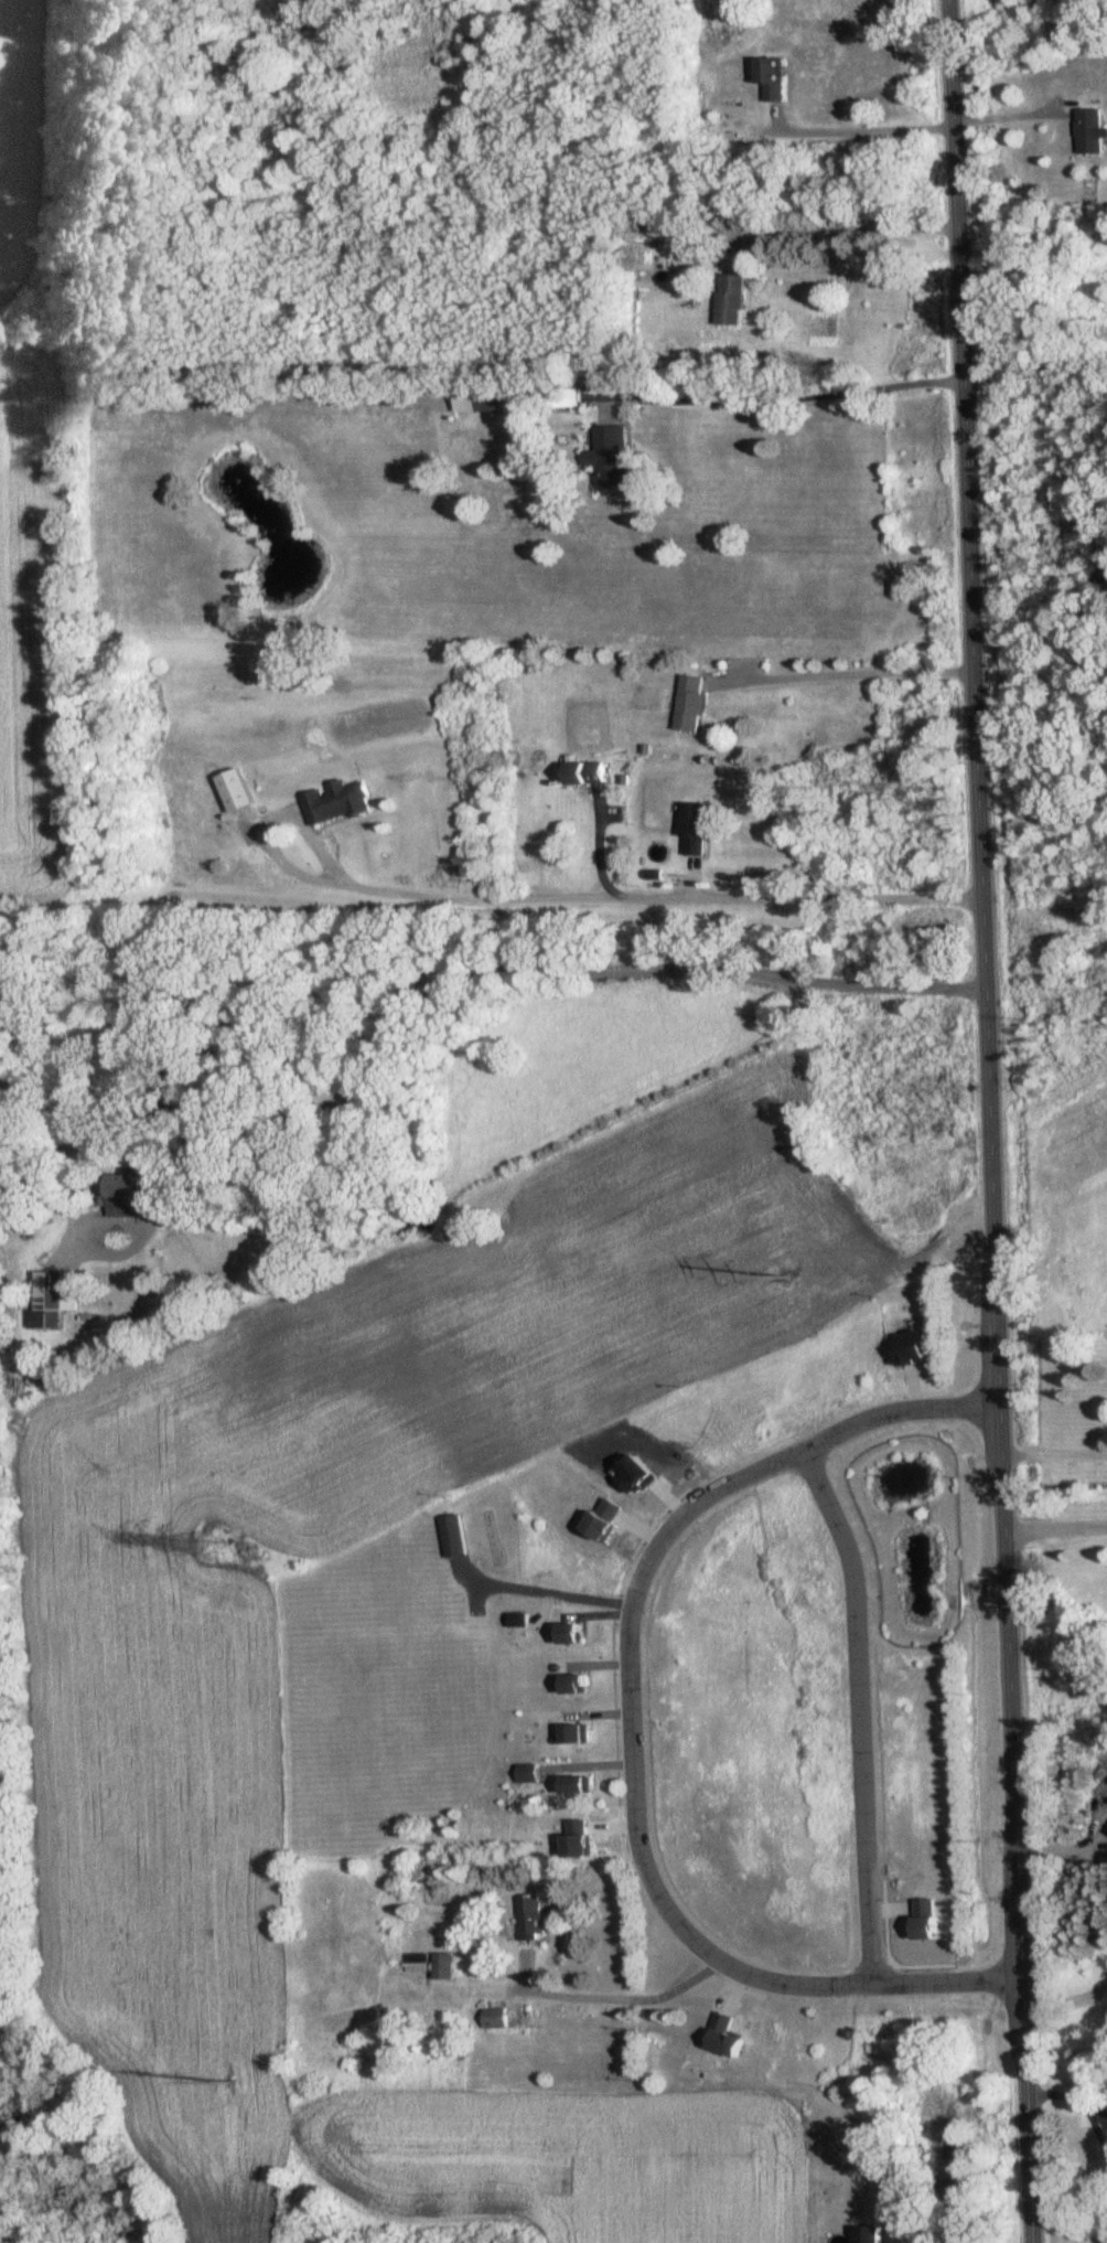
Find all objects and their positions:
building: (769, 76)
road: (1009, 119)
road: (860, 128)
building: (1089, 131)
road: (841, 226)
building: (729, 300)
road: (797, 394)
building: (477, 399)
building: (606, 459)
road: (847, 673)
building: (695, 703)
building: (589, 773)
building: (340, 802)
building: (698, 827)
road: (632, 893)
road: (497, 966)
road: (991, 1121)
building: (131, 1195)
power tower: (784, 1277)
building: (55, 1299)
road: (1058, 1471)
road: (1060, 1529)
building: (454, 1537)
power tower: (215, 1546)
road: (556, 1590)
building: (566, 1633)
building: (571, 1683)
road: (862, 1711)
road: (633, 1729)
building: (571, 1733)
building: (525, 1772)
building: (568, 1784)
building: (529, 1916)
building: (417, 1963)
building: (443, 1966)
road: (625, 1996)
road: (1068, 2000)
building: (495, 2015)
power tower: (229, 2082)
road: (1056, 2097)
road: (1093, 2108)
road: (1095, 2127)
building: (869, 2234)

